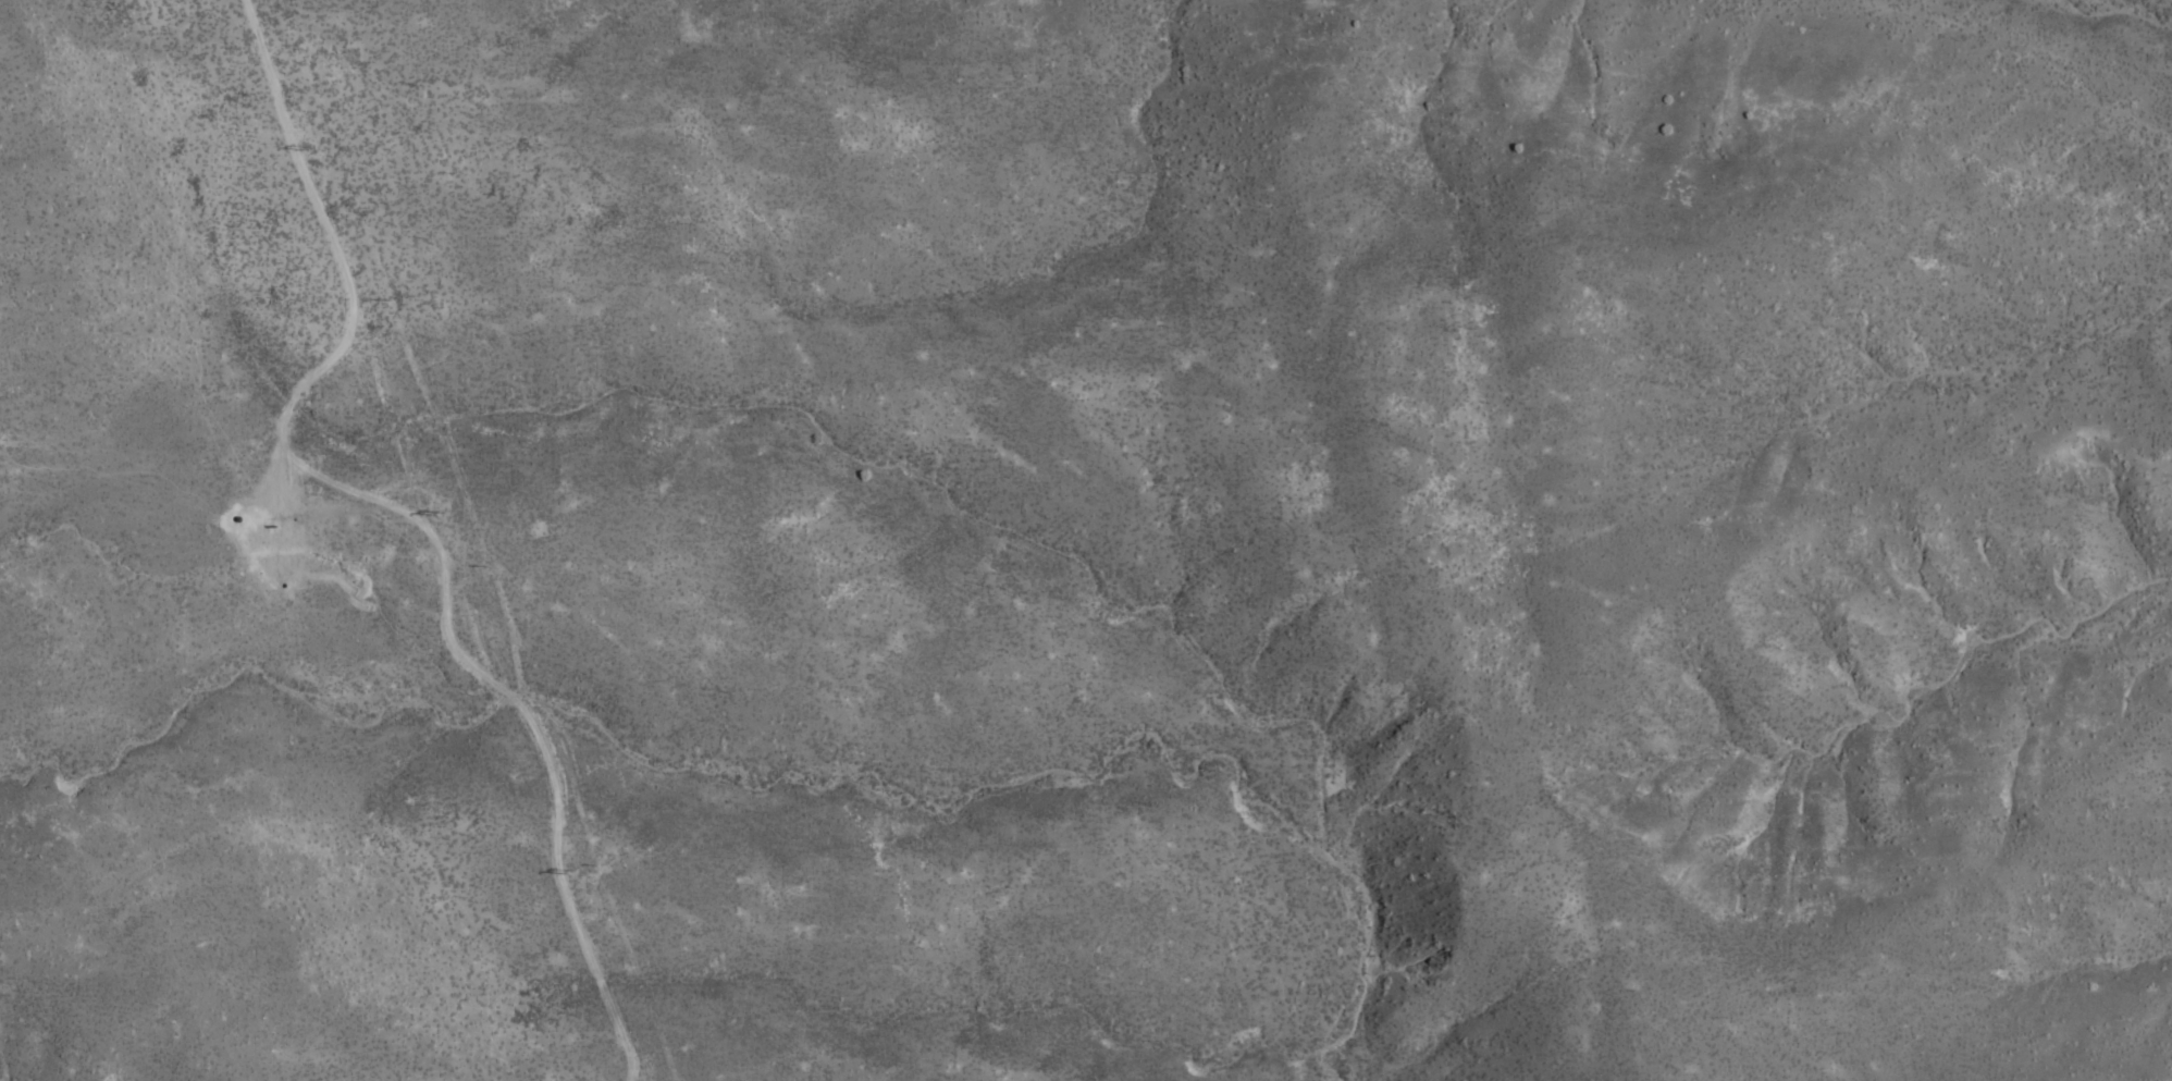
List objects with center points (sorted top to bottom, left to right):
road: (409, 515)

